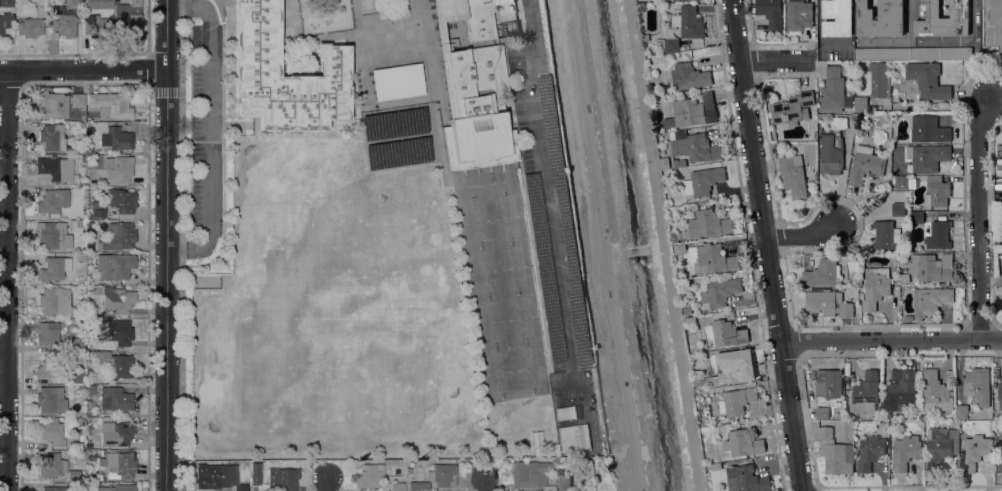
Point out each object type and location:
building: (692, 0)
building: (6, 3)
building: (106, 3)
building: (770, 12)
building: (798, 14)
building: (129, 17)
building: (837, 17)
building: (880, 18)
building: (64, 19)
building: (942, 19)
building: (688, 22)
building: (4, 23)
building: (994, 23)
building: (96, 25)
building: (30, 28)
road: (966, 41)
building: (671, 44)
building: (912, 53)
road: (774, 60)
building: (256, 66)
road: (83, 71)
building: (689, 76)
building: (879, 79)
building: (927, 80)
building: (398, 82)
building: (474, 89)
building: (832, 90)
building: (78, 100)
building: (860, 104)
building: (109, 105)
building: (52, 106)
building: (792, 109)
building: (692, 111)
parking lot: (206, 122)
road: (208, 124)
building: (394, 124)
building: (82, 125)
building: (550, 125)
building: (928, 129)
building: (860, 132)
building: (813, 135)
building: (51, 138)
building: (116, 138)
building: (695, 147)
building: (831, 147)
building: (81, 151)
building: (398, 154)
building: (927, 156)
building: (83, 158)
parking lot: (999, 162)
building: (65, 163)
building: (664, 163)
building: (865, 164)
building: (118, 169)
building: (49, 170)
building: (793, 175)
building: (703, 181)
building: (900, 182)
road: (544, 188)
building: (936, 191)
building: (121, 200)
building: (52, 202)
building: (898, 209)
building: (97, 210)
building: (916, 216)
road: (978, 218)
parking lot: (550, 224)
building: (706, 225)
building: (886, 235)
building: (938, 235)
building: (53, 236)
building: (119, 236)
road: (805, 238)
road: (166, 245)
road: (604, 245)
road: (767, 245)
building: (713, 259)
building: (114, 266)
building: (932, 267)
building: (54, 268)
building: (822, 273)
road: (8, 281)
park: (499, 282)
building: (875, 287)
building: (720, 292)
building: (117, 299)
building: (930, 300)
building: (53, 302)
building: (827, 303)
building: (687, 311)
building: (689, 320)
building: (117, 332)
building: (47, 333)
building: (728, 333)
road: (892, 341)
building: (77, 344)
building: (693, 347)
building: (118, 365)
building: (48, 367)
building: (733, 367)
building: (88, 372)
building: (76, 376)
building: (699, 381)
building: (977, 385)
building: (81, 388)
building: (900, 389)
building: (825, 391)
building: (935, 392)
building: (865, 393)
building: (1000, 394)
building: (117, 399)
building: (736, 399)
building: (51, 400)
building: (961, 411)
building: (566, 413)
building: (989, 415)
building: (885, 417)
building: (80, 421)
building: (52, 432)
building: (119, 435)
building: (572, 438)
building: (742, 443)
building: (940, 446)
building: (831, 450)
building: (103, 451)
building: (869, 452)
building: (905, 452)
building: (974, 452)
building: (1000, 455)
building: (91, 456)
building: (113, 458)
building: (52, 465)
building: (122, 467)
building: (408, 471)
building: (73, 474)
building: (139, 474)
building: (255, 474)
building: (528, 474)
building: (370, 475)
building: (98, 476)
building: (215, 476)
building: (442, 476)
building: (282, 479)
building: (745, 479)
building: (563, 482)
road: (486, 485)
road: (330, 486)
building: (418, 486)
building: (241, 487)
building: (397, 487)
building: (54, 488)
building: (119, 488)
building: (253, 488)

